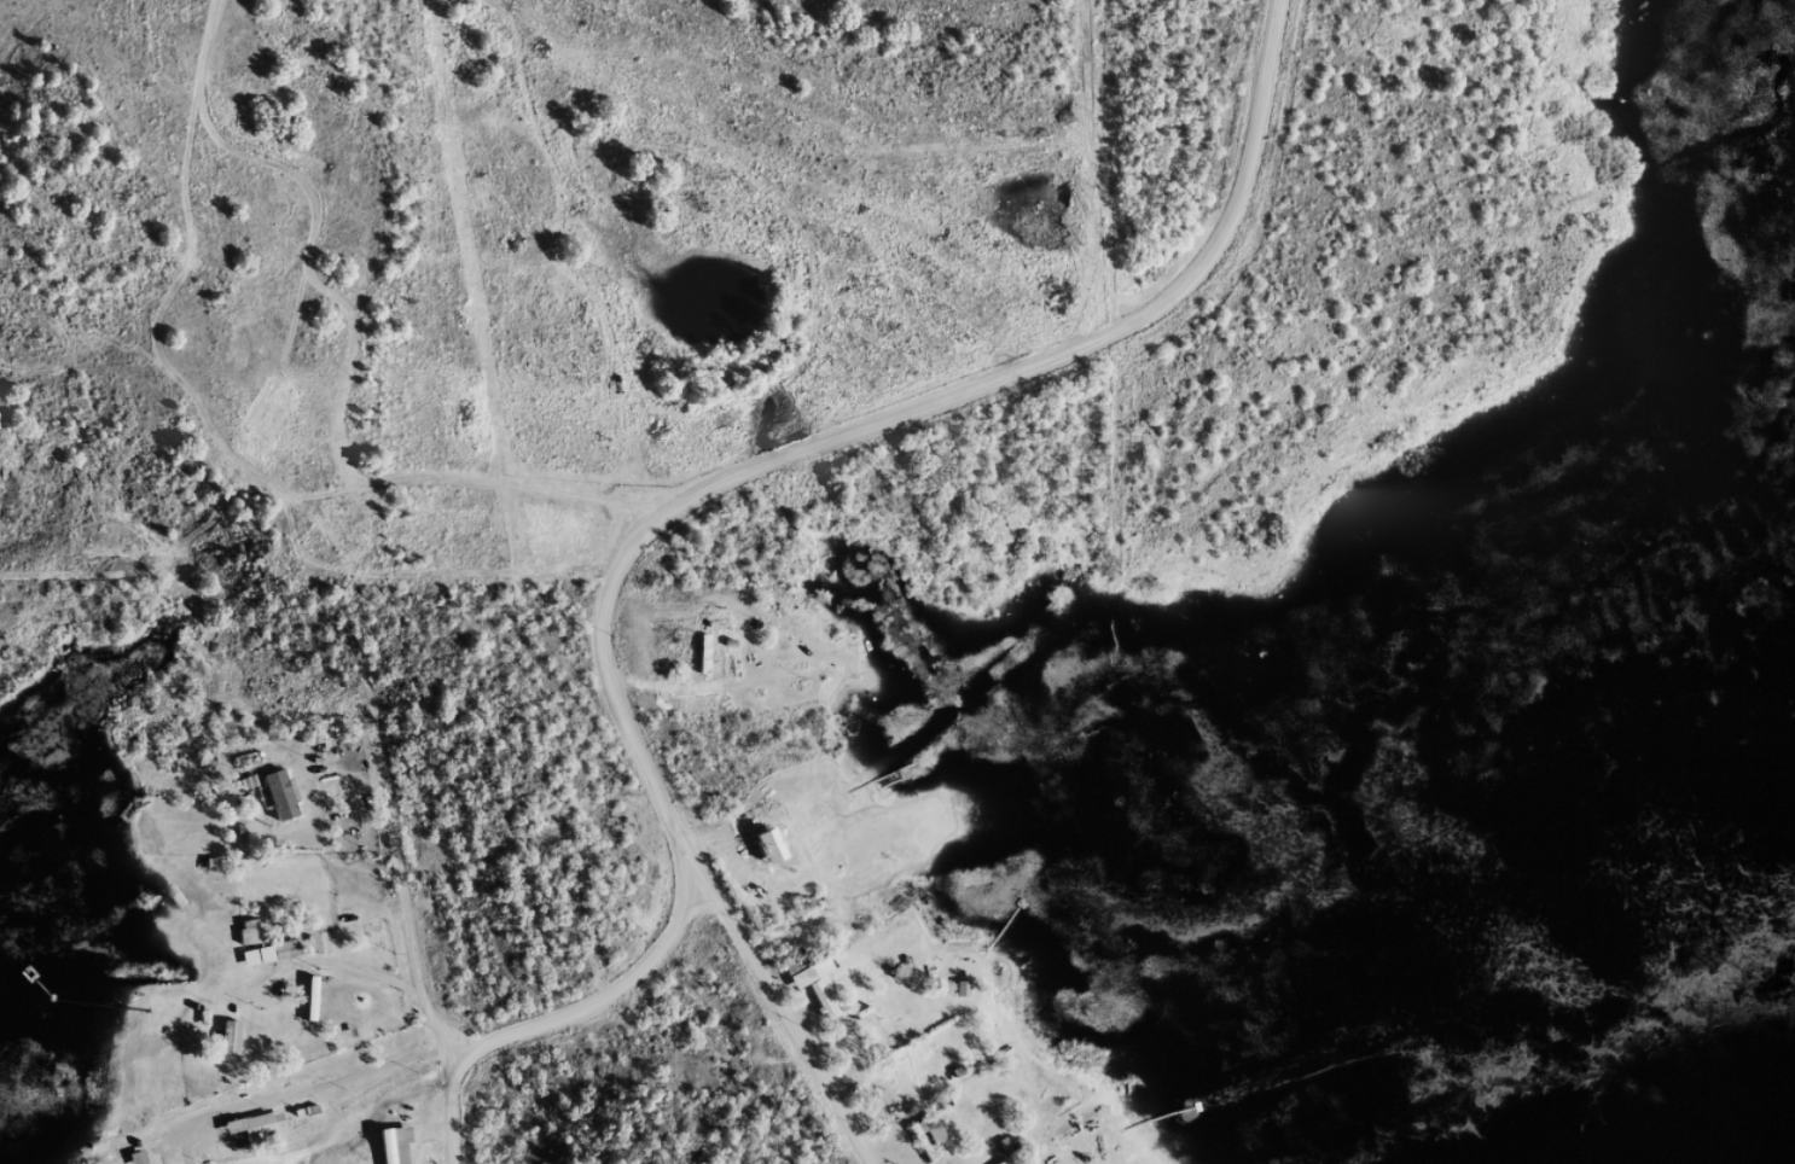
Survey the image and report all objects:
road: (878, 425)
building: (699, 662)
building: (274, 803)
road: (407, 894)
building: (244, 941)
building: (265, 962)
building: (808, 993)
road: (605, 997)
building: (306, 1007)
road: (788, 1025)
building: (225, 1046)
road: (452, 1110)
building: (251, 1136)
building: (389, 1150)

